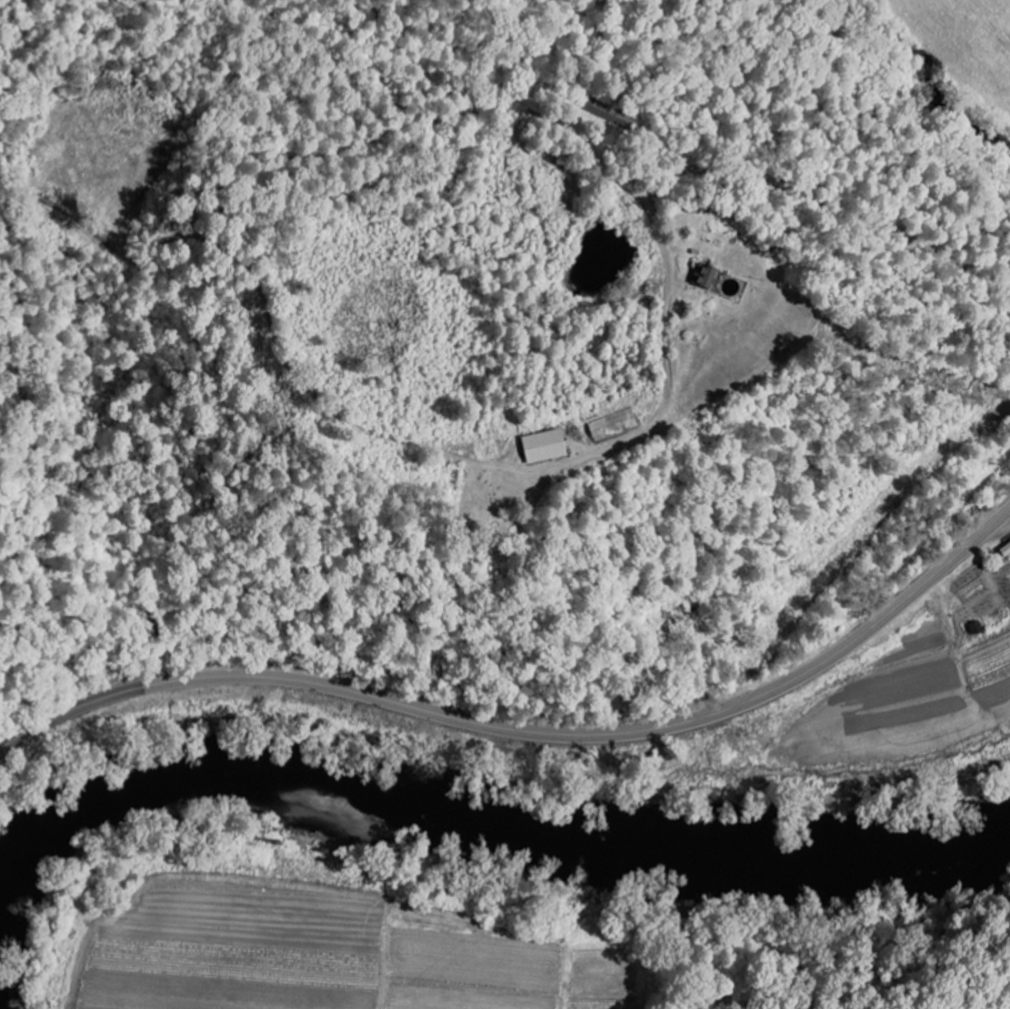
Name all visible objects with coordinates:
road: (693, 171)
building: (703, 279)
building: (541, 447)
road: (565, 460)
road: (529, 731)
river: (491, 822)

